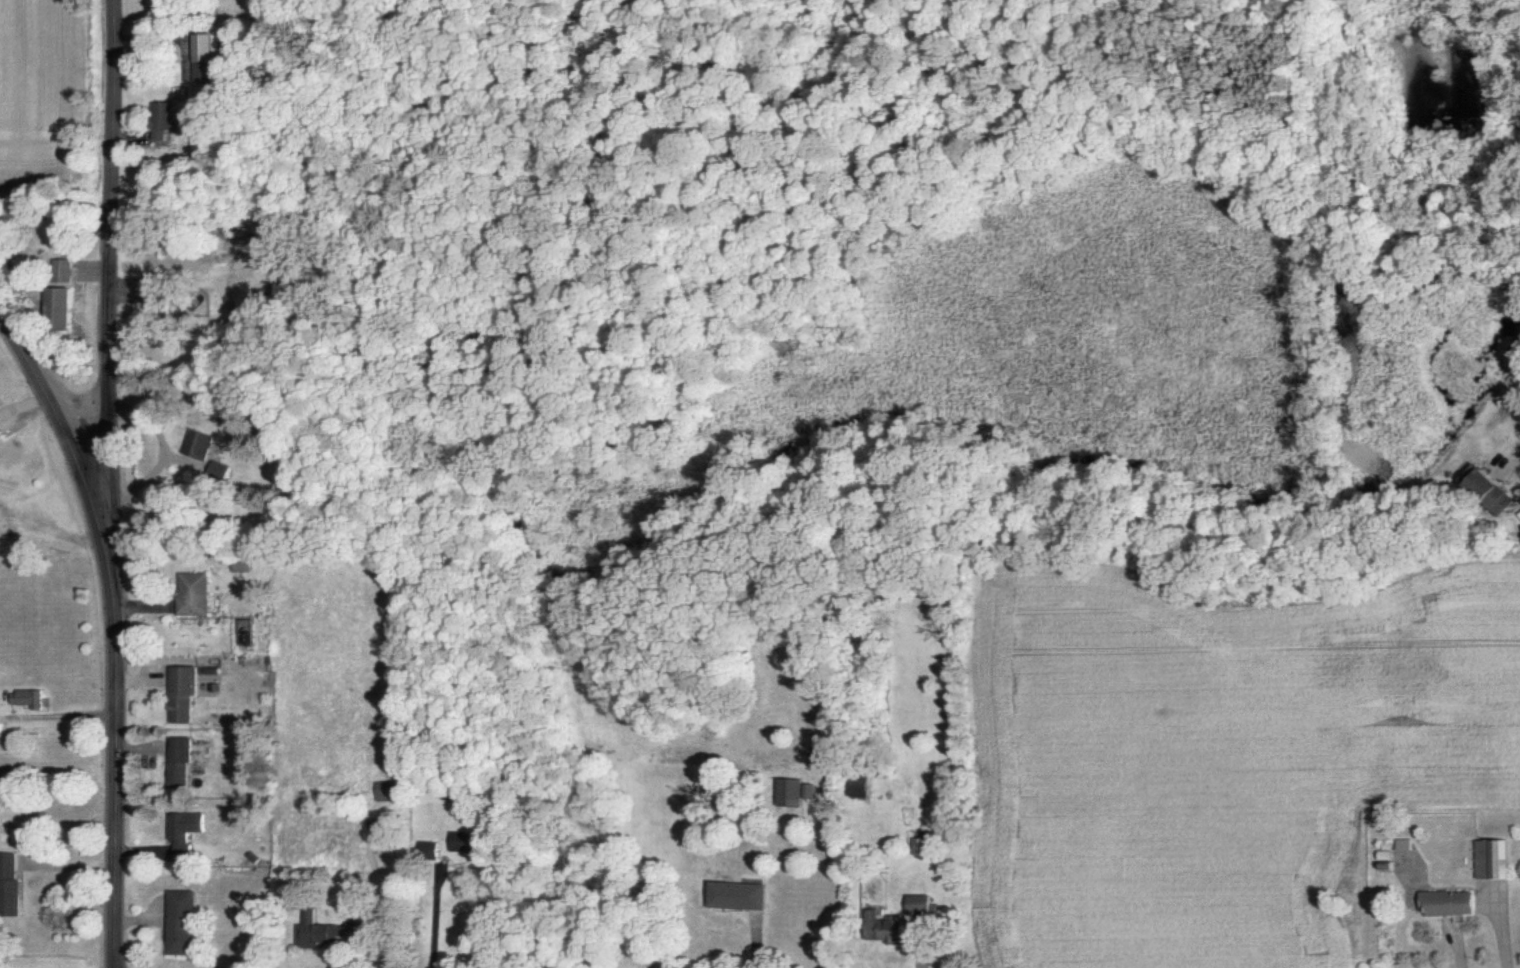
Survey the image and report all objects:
building: (199, 56)
building: (162, 118)
building: (69, 269)
building: (160, 300)
building: (66, 307)
road: (121, 340)
building: (2, 429)
building: (201, 443)
building: (221, 471)
building: (1488, 491)
road: (1514, 493)
building: (242, 564)
building: (193, 592)
road: (113, 620)
building: (180, 692)
building: (27, 698)
building: (178, 762)
building: (860, 785)
building: (386, 790)
building: (807, 790)
building: (787, 792)
building: (182, 829)
building: (463, 840)
building: (916, 845)
building: (427, 851)
building: (1490, 858)
building: (9, 884)
building: (733, 894)
building: (1447, 902)
building: (914, 903)
road: (433, 917)
building: (179, 921)
building: (879, 927)
building: (328, 932)

